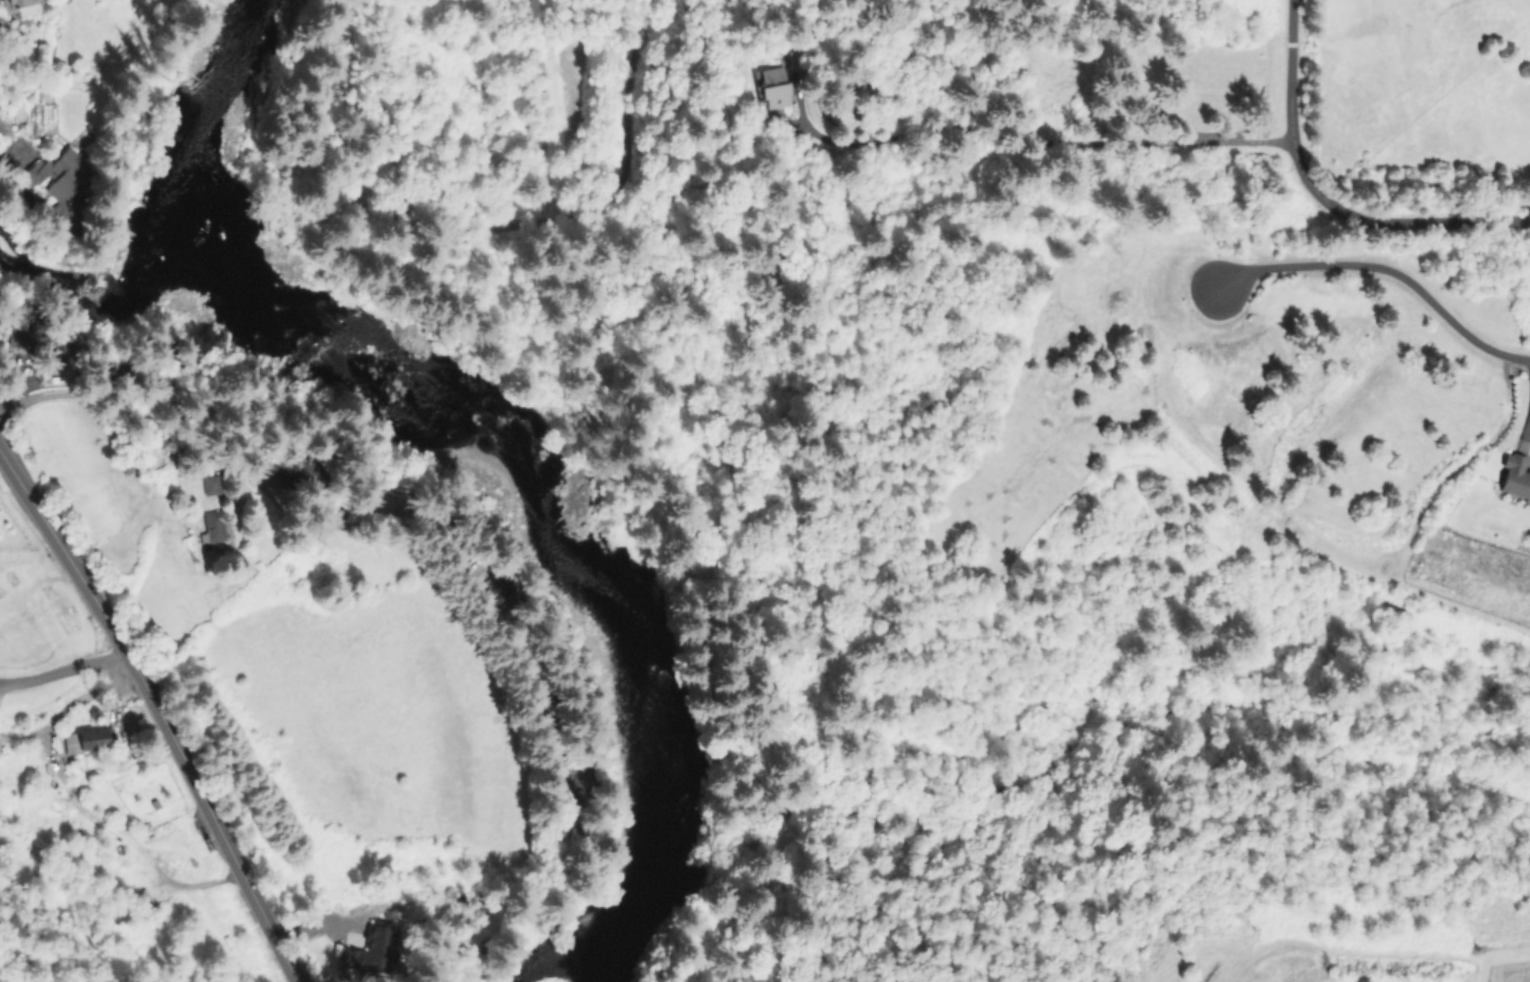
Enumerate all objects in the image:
building: (771, 86)
road: (1286, 96)
road: (1193, 144)
building: (63, 180)
road: (1413, 222)
road: (1386, 271)
building: (26, 327)
building: (57, 348)
road: (57, 394)
river: (489, 422)
road: (2, 455)
building: (288, 473)
building: (1513, 476)
building: (210, 484)
building: (213, 527)
road: (67, 670)
road: (166, 707)
road: (6, 726)
building: (86, 740)
road: (83, 800)
building: (143, 901)
building: (372, 951)

